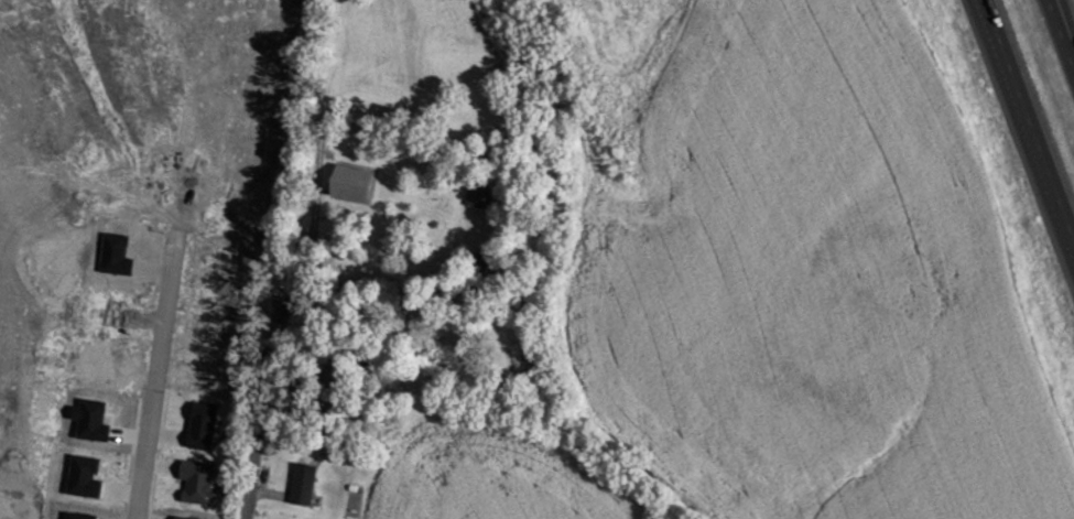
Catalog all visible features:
road: (1060, 35)
road: (1029, 118)
building: (358, 182)
building: (479, 196)
road: (245, 462)
building: (306, 484)

